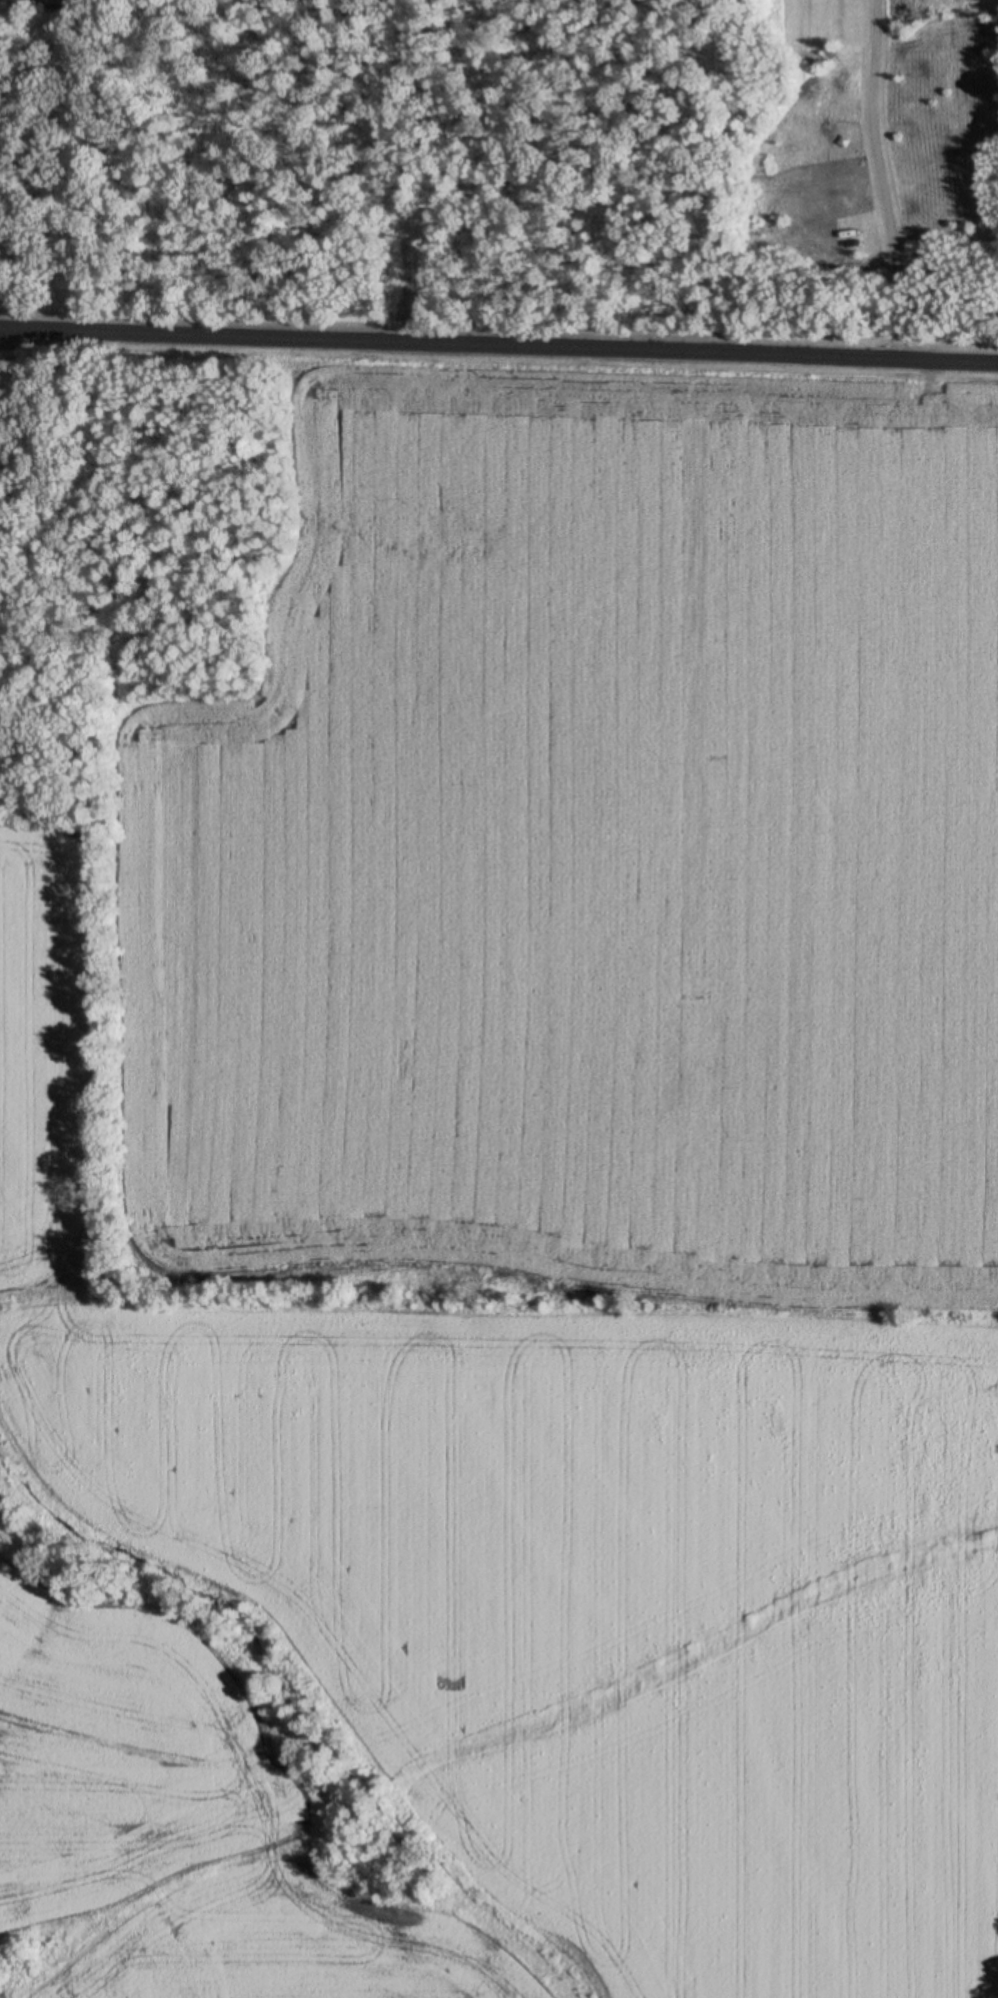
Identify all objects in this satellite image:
road: (876, 189)
road: (498, 362)

